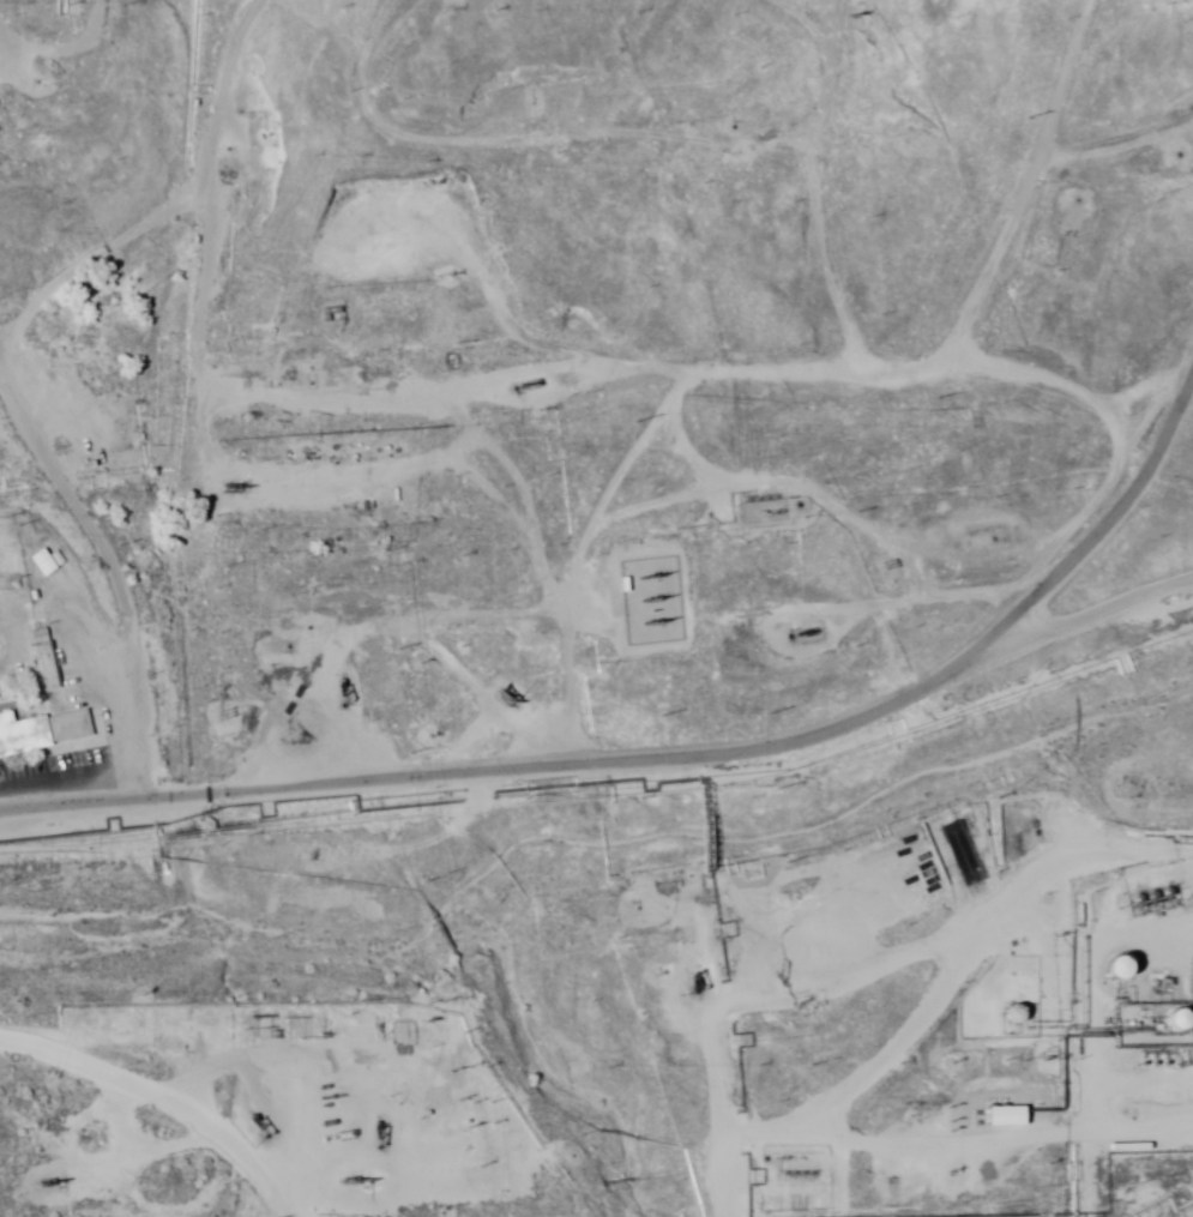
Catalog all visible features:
road: (79, 67)
road: (379, 76)
road: (110, 140)
road: (559, 152)
road: (1071, 181)
road: (778, 224)
road: (614, 360)
road: (1028, 361)
road: (84, 380)
building: (764, 507)
building: (46, 562)
road: (627, 640)
road: (1078, 649)
building: (43, 733)
road: (675, 766)
road: (109, 775)
road: (717, 978)
road: (110, 982)
road: (613, 1052)
road: (941, 1143)
road: (103, 1156)

